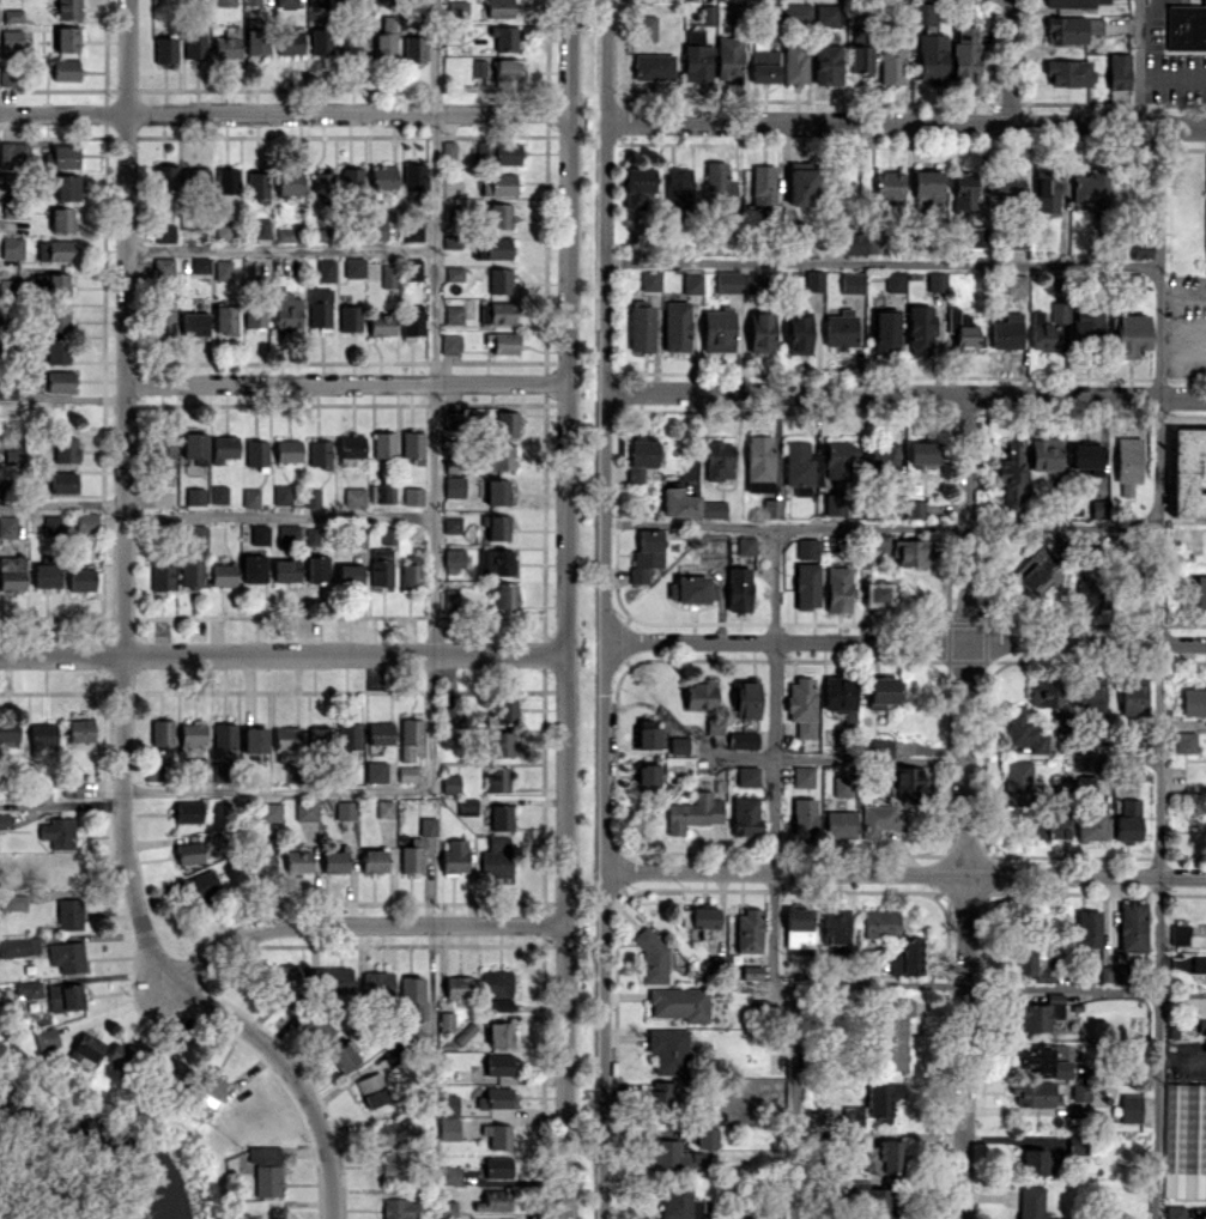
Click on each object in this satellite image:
building: (253, 1)
building: (225, 2)
building: (285, 2)
building: (317, 2)
building: (1073, 2)
road: (1151, 7)
building: (68, 8)
building: (457, 8)
building: (498, 8)
building: (796, 11)
building: (737, 13)
building: (826, 13)
building: (925, 13)
building: (13, 14)
building: (707, 14)
building: (646, 26)
building: (1186, 26)
building: (1071, 29)
building: (256, 36)
building: (504, 37)
building: (11, 38)
building: (67, 38)
building: (386, 38)
building: (321, 41)
building: (228, 43)
building: (291, 43)
building: (194, 44)
building: (352, 44)
building: (414, 48)
building: (165, 49)
building: (964, 53)
road: (434, 55)
road: (569, 56)
building: (696, 56)
building: (728, 57)
building: (860, 57)
building: (931, 57)
road: (605, 60)
road: (1010, 61)
building: (763, 62)
building: (891, 62)
road: (1140, 62)
building: (794, 63)
building: (826, 63)
building: (653, 66)
building: (478, 67)
building: (65, 68)
building: (507, 69)
building: (1117, 71)
building: (1068, 72)
building: (7, 75)
road: (1172, 77)
road: (216, 110)
road: (501, 111)
road: (905, 122)
building: (497, 152)
building: (14, 154)
building: (60, 157)
building: (413, 175)
building: (165, 176)
building: (194, 177)
building: (382, 177)
building: (351, 178)
building: (7, 180)
building: (290, 182)
building: (801, 182)
building: (499, 183)
building: (762, 183)
building: (1006, 183)
building: (257, 184)
building: (322, 184)
building: (926, 184)
building: (636, 186)
building: (677, 186)
building: (717, 186)
building: (66, 187)
building: (887, 187)
building: (1091, 188)
building: (963, 189)
building: (1046, 189)
building: (453, 213)
building: (499, 216)
building: (62, 219)
building: (260, 228)
building: (223, 229)
building: (377, 229)
building: (165, 232)
building: (413, 234)
building: (285, 235)
building: (977, 236)
building: (852, 243)
building: (12, 247)
road: (565, 247)
building: (491, 248)
building: (55, 250)
road: (279, 250)
building: (1135, 251)
road: (605, 255)
road: (881, 263)
building: (200, 265)
building: (163, 266)
building: (353, 266)
building: (411, 268)
building: (223, 269)
building: (325, 269)
building: (454, 273)
building: (388, 274)
building: (499, 279)
building: (650, 280)
building: (814, 280)
building: (935, 280)
building: (727, 281)
building: (852, 281)
building: (893, 281)
building: (1129, 281)
building: (692, 283)
building: (754, 283)
building: (1016, 284)
building: (57, 285)
building: (10, 286)
building: (319, 307)
building: (287, 311)
building: (497, 313)
building: (453, 314)
building: (254, 315)
building: (57, 317)
building: (350, 317)
building: (166, 319)
building: (225, 319)
building: (412, 321)
building: (194, 323)
building: (381, 323)
building: (675, 326)
building: (1086, 326)
building: (641, 327)
building: (1047, 327)
building: (840, 328)
building: (717, 329)
building: (920, 329)
building: (960, 329)
building: (1006, 330)
building: (760, 332)
building: (884, 332)
building: (798, 333)
building: (1128, 334)
road: (1182, 334)
building: (503, 341)
building: (449, 342)
building: (56, 350)
building: (59, 381)
road: (343, 382)
road: (904, 392)
building: (453, 420)
building: (507, 423)
road: (432, 442)
building: (194, 444)
building: (383, 444)
building: (351, 445)
building: (412, 447)
building: (65, 448)
building: (224, 448)
building: (287, 450)
building: (319, 451)
building: (256, 453)
building: (1044, 453)
building: (921, 454)
building: (13, 456)
building: (166, 456)
building: (498, 456)
building: (883, 456)
building: (1086, 456)
building: (638, 457)
building: (719, 460)
building: (838, 460)
building: (758, 462)
building: (1127, 462)
building: (801, 467)
building: (1186, 472)
building: (1012, 477)
building: (62, 481)
building: (454, 486)
building: (497, 491)
building: (386, 492)
building: (219, 493)
building: (283, 493)
building: (413, 496)
building: (250, 497)
building: (311, 497)
building: (353, 497)
building: (679, 502)
road: (62, 503)
building: (834, 503)
building: (714, 508)
building: (772, 508)
building: (915, 508)
road: (278, 514)
road: (564, 516)
road: (604, 516)
building: (85, 522)
building: (50, 523)
building: (452, 524)
road: (880, 524)
building: (7, 526)
building: (496, 526)
building: (260, 534)
building: (388, 534)
building: (311, 535)
building: (745, 545)
building: (880, 545)
building: (807, 547)
building: (910, 552)
building: (646, 554)
building: (713, 554)
building: (454, 559)
building: (496, 560)
building: (381, 565)
building: (253, 568)
building: (317, 568)
building: (285, 569)
building: (1035, 570)
building: (12, 572)
building: (190, 572)
building: (410, 572)
building: (222, 574)
building: (46, 575)
building: (162, 576)
building: (349, 576)
building: (81, 578)
building: (806, 584)
building: (739, 588)
building: (690, 589)
building: (837, 589)
building: (1200, 590)
building: (877, 594)
building: (505, 595)
building: (1091, 595)
building: (450, 598)
road: (904, 642)
road: (125, 648)
road: (283, 654)
road: (1158, 673)
building: (883, 691)
building: (840, 692)
building: (1040, 692)
building: (1055, 692)
building: (699, 693)
building: (1090, 695)
building: (1132, 695)
building: (746, 699)
building: (1193, 701)
building: (802, 704)
building: (503, 709)
building: (449, 715)
building: (714, 724)
building: (79, 729)
building: (8, 730)
building: (162, 732)
building: (1024, 732)
building: (192, 733)
building: (380, 733)
building: (646, 733)
building: (42, 734)
building: (223, 735)
building: (285, 736)
building: (317, 736)
building: (349, 738)
building: (410, 738)
building: (743, 739)
building: (254, 740)
building: (1184, 741)
building: (501, 744)
building: (679, 745)
building: (881, 746)
road: (604, 756)
road: (869, 758)
building: (678, 763)
building: (199, 768)
building: (153, 771)
building: (219, 771)
building: (376, 771)
building: (406, 772)
building: (747, 775)
building: (647, 776)
building: (802, 776)
building: (496, 778)
building: (907, 782)
building: (1018, 782)
building: (450, 783)
road: (564, 786)
building: (842, 786)
building: (71, 787)
road: (281, 788)
building: (467, 806)
road: (966, 806)
building: (384, 808)
building: (305, 809)
building: (345, 809)
building: (188, 811)
building: (269, 812)
building: (693, 812)
building: (745, 815)
building: (804, 815)
building: (501, 817)
building: (1127, 819)
building: (5, 820)
building: (881, 820)
building: (1049, 821)
building: (840, 823)
building: (428, 825)
building: (1090, 825)
building: (57, 831)
building: (188, 851)
building: (262, 855)
building: (412, 855)
building: (454, 856)
building: (496, 856)
building: (372, 860)
building: (297, 861)
building: (333, 861)
road: (904, 872)
road: (771, 874)
building: (199, 885)
building: (13, 902)
building: (68, 912)
building: (698, 920)
building: (880, 922)
road: (359, 923)
building: (835, 924)
building: (1133, 926)
building: (798, 927)
building: (1087, 928)
building: (749, 930)
building: (1180, 934)
building: (19, 946)
building: (67, 956)
building: (907, 957)
building: (652, 958)
building: (1031, 963)
building: (1194, 963)
building: (751, 971)
building: (1110, 974)
building: (331, 978)
building: (376, 982)
building: (287, 984)
building: (457, 985)
building: (411, 988)
building: (497, 988)
building: (28, 989)
road: (968, 990)
building: (65, 996)
building: (679, 1002)
road: (116, 1005)
building: (896, 1006)
building: (1034, 1018)
building: (446, 1021)
building: (317, 1027)
building: (499, 1033)
building: (43, 1036)
building: (891, 1041)
road: (602, 1044)
building: (87, 1047)
building: (667, 1051)
building: (393, 1053)
road: (1194, 1054)
building: (119, 1056)
building: (343, 1057)
building: (1050, 1060)
building: (498, 1065)
road: (563, 1071)
building: (207, 1087)
building: (371, 1088)
building: (1080, 1091)
building: (1034, 1092)
building: (495, 1097)
building: (657, 1097)
building: (447, 1102)
building: (873, 1103)
building: (1129, 1108)
building: (448, 1128)
building: (393, 1130)
building: (497, 1135)
building: (707, 1136)
building: (1183, 1139)
river: (104, 1141)
building: (672, 1157)
building: (884, 1157)
building: (1038, 1162)
building: (393, 1165)
building: (497, 1166)
building: (265, 1169)
building: (448, 1175)
building: (493, 1200)
building: (679, 1201)
building: (880, 1202)
building: (1031, 1202)
building: (400, 1208)
building: (448, 1208)
building: (771, 1212)
building: (1174, 1212)

